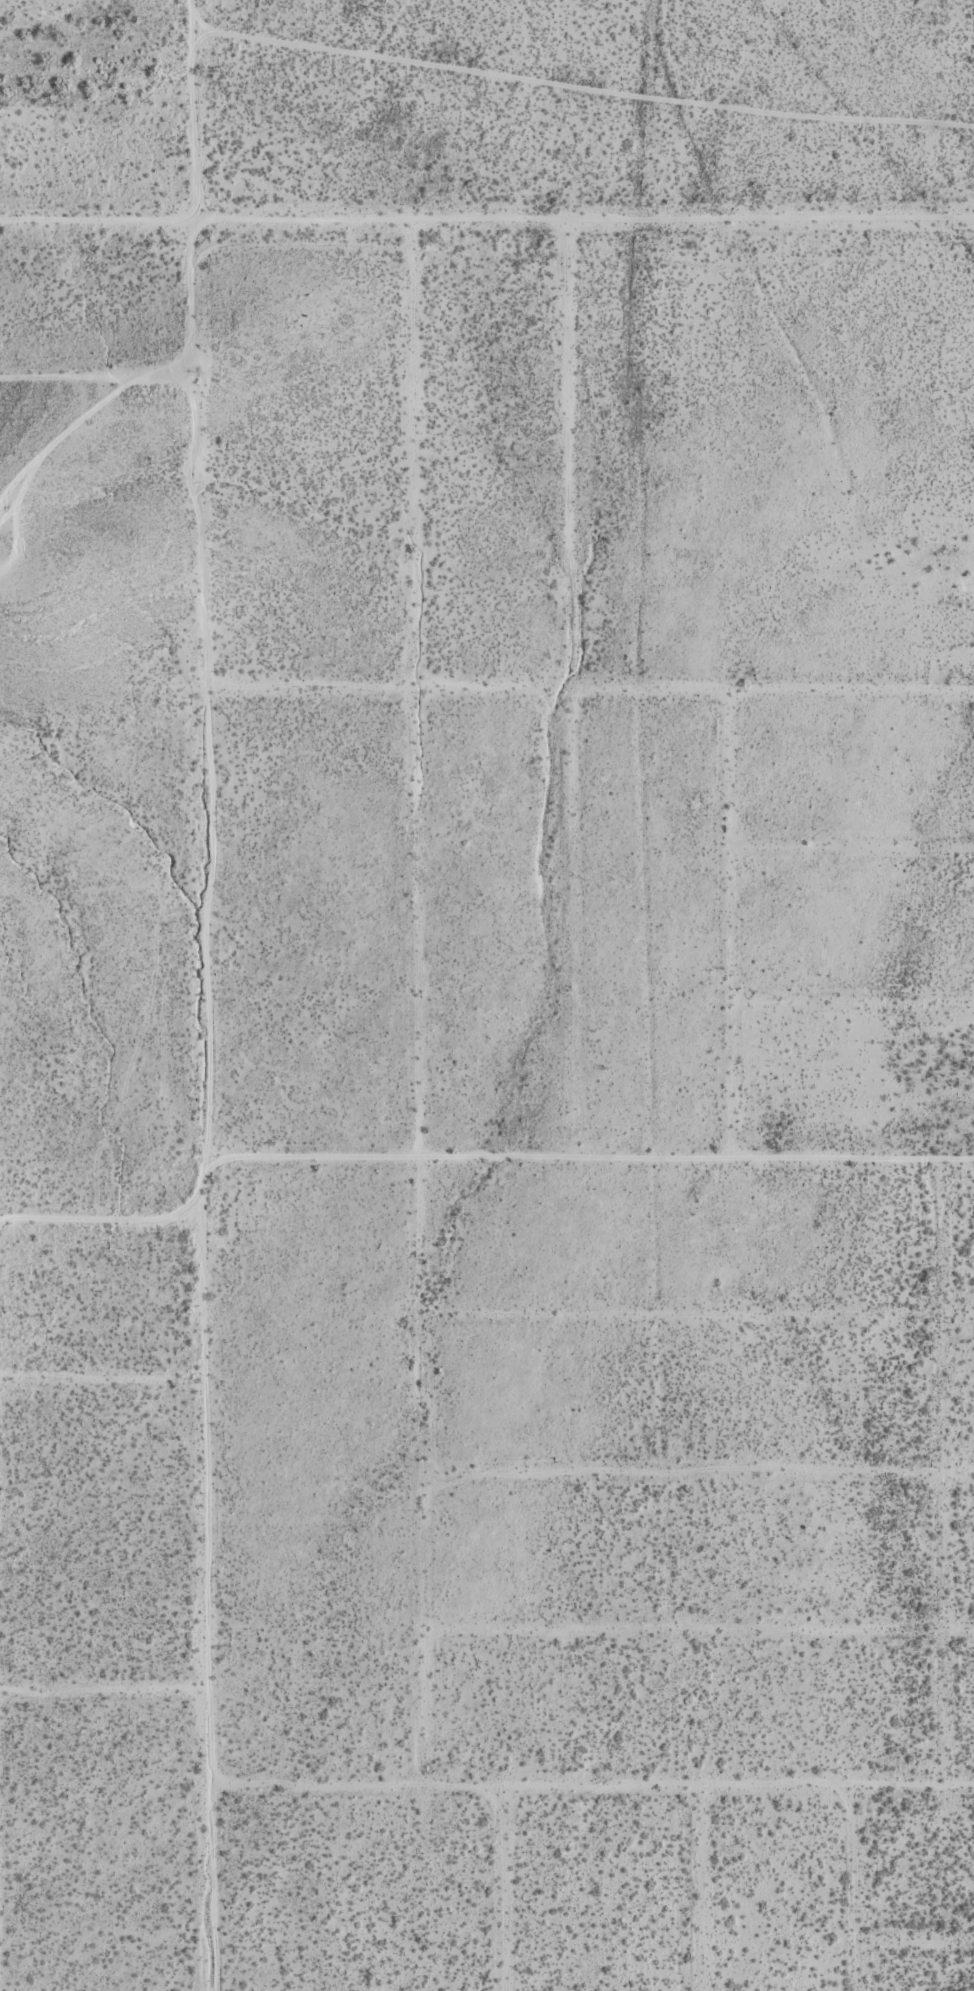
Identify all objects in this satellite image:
road: (578, 91)
road: (486, 219)
road: (835, 297)
road: (97, 372)
road: (67, 430)
road: (569, 461)
road: (6, 513)
road: (12, 542)
road: (587, 704)
road: (852, 846)
road: (576, 930)
road: (731, 930)
road: (207, 995)
road: (852, 1001)
road: (418, 1003)
road: (591, 1157)
road: (101, 1222)
road: (697, 1312)
road: (102, 1379)
road: (698, 1470)
road: (945, 1471)
road: (699, 1628)
road: (104, 1691)
road: (592, 1787)
road: (856, 1888)
road: (506, 1889)
road: (705, 1889)
road: (916, 1942)

